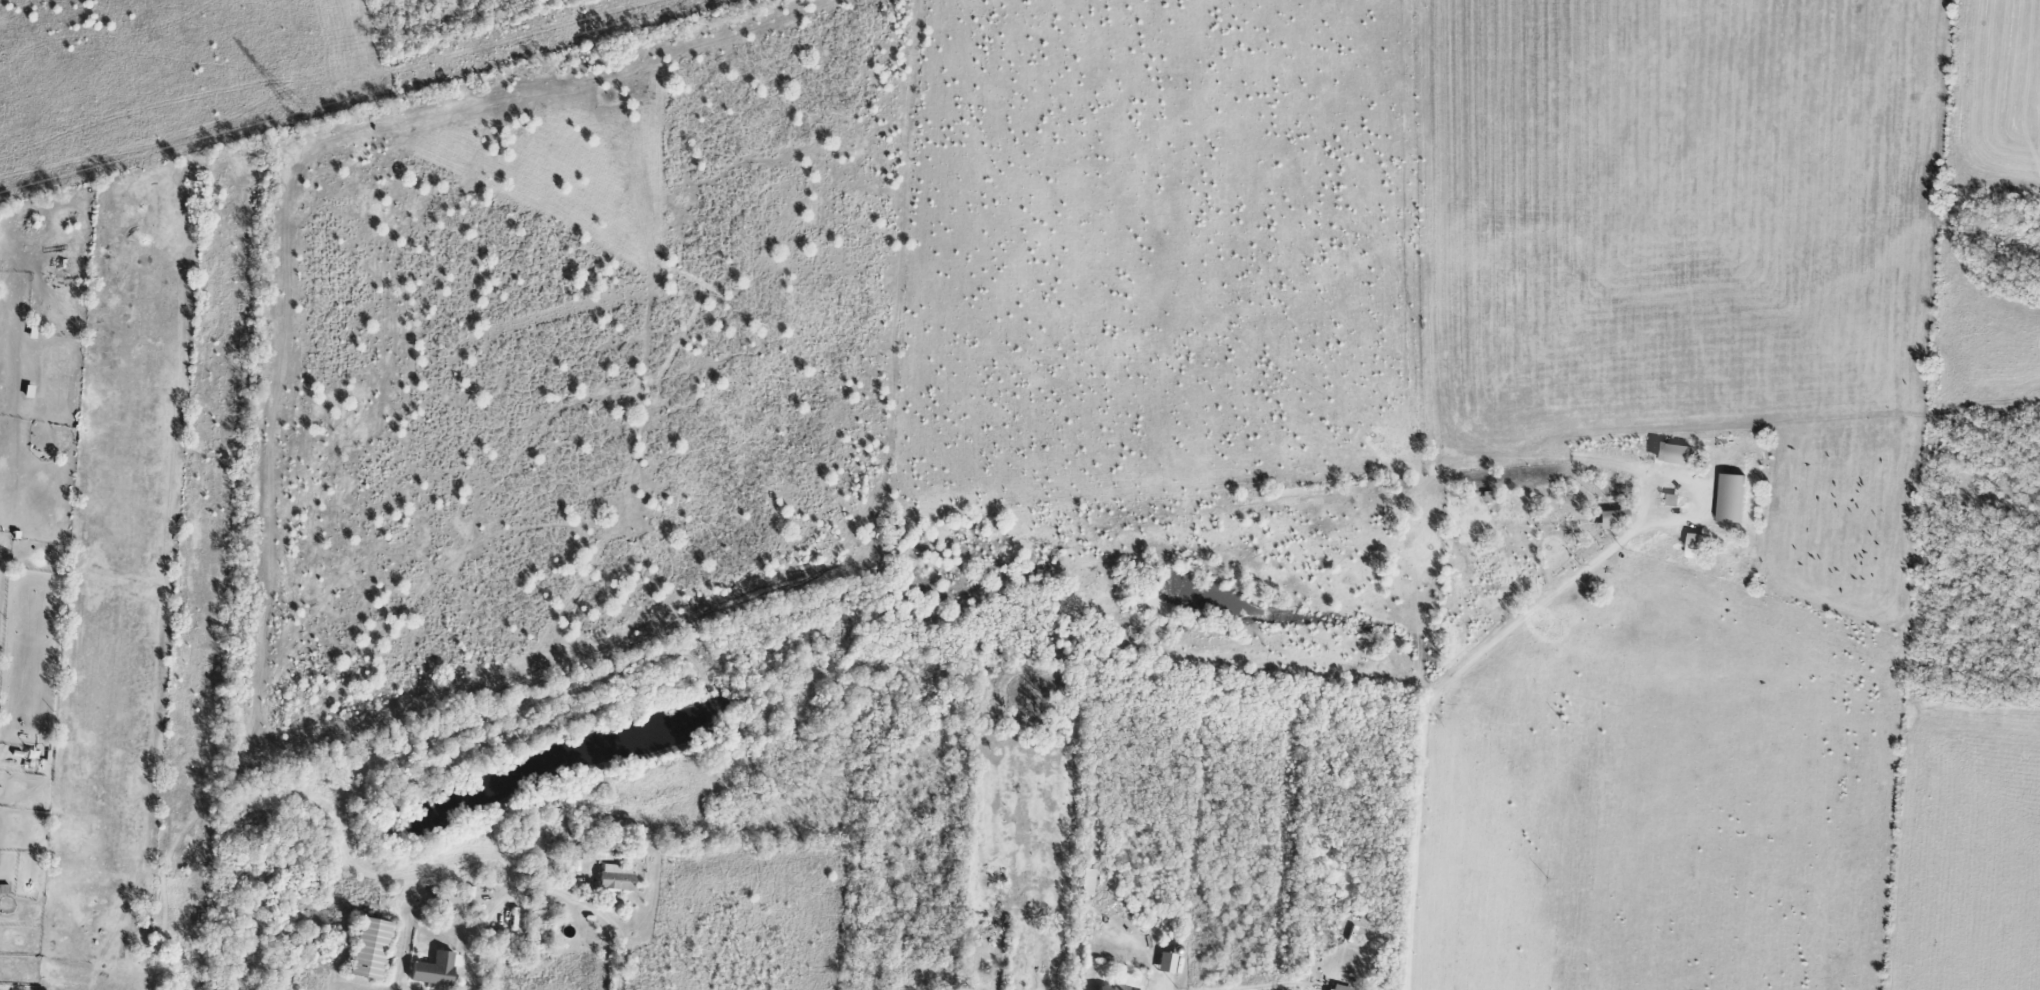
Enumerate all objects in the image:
power tower: (296, 107)
building: (1671, 454)
road: (1693, 482)
building: (1731, 498)
building: (1611, 519)
building: (1697, 546)
road: (1430, 710)
building: (596, 852)
building: (617, 878)
building: (1089, 882)
road: (547, 893)
building: (451, 899)
building: (542, 903)
building: (370, 949)
building: (1166, 963)
building: (435, 970)
building: (1111, 988)
road: (1292, 988)
building: (1339, 988)
road: (1315, 989)

